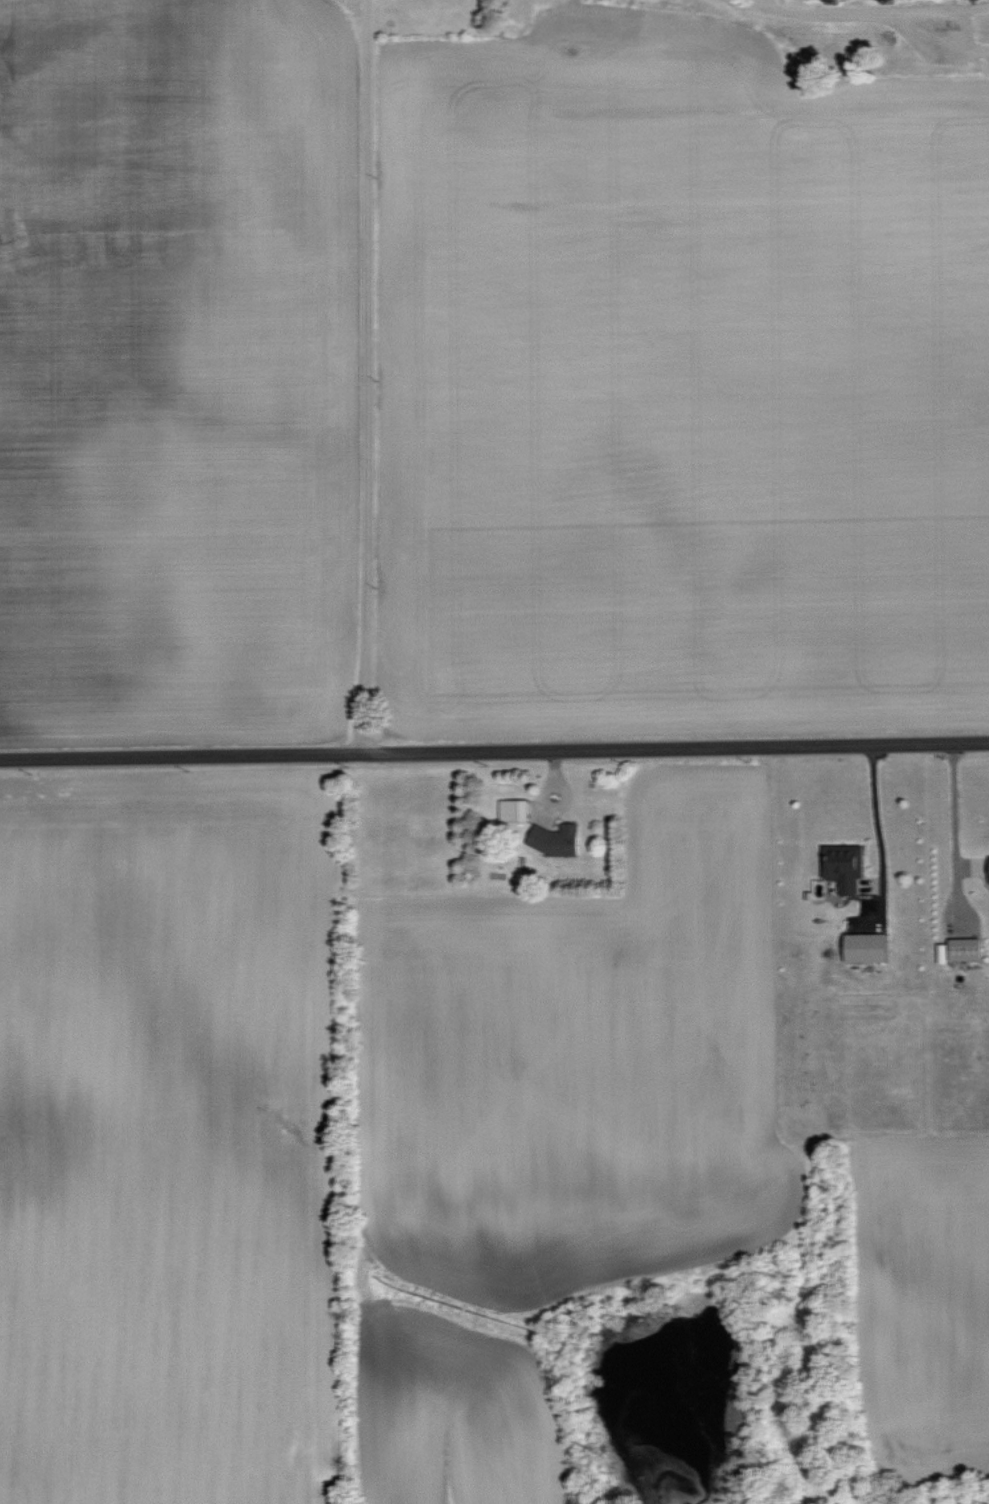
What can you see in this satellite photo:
road: (839, 14)
road: (360, 380)
road: (494, 757)
building: (514, 809)
road: (953, 815)
road: (876, 829)
building: (558, 839)
building: (845, 866)
building: (870, 947)
building: (969, 948)
building: (945, 953)

